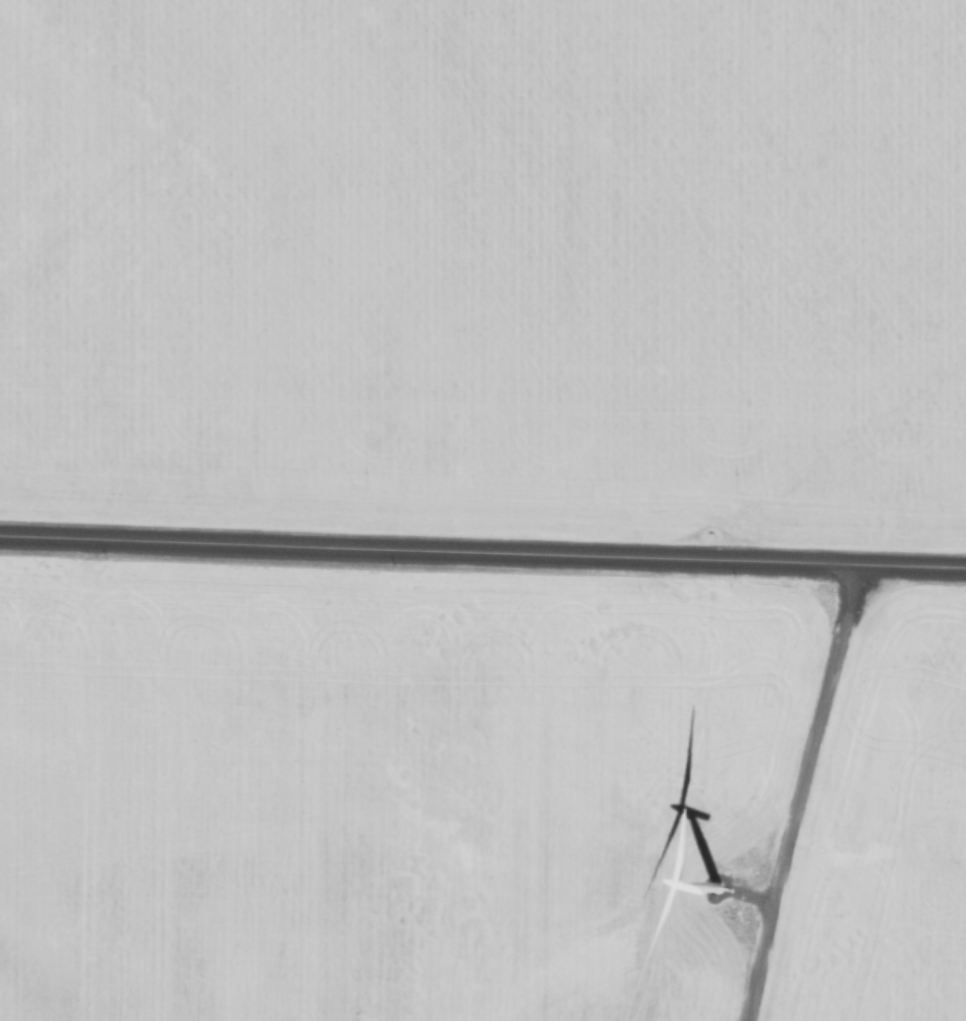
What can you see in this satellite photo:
road: (482, 540)
road: (793, 788)
wind turbine: (721, 884)

